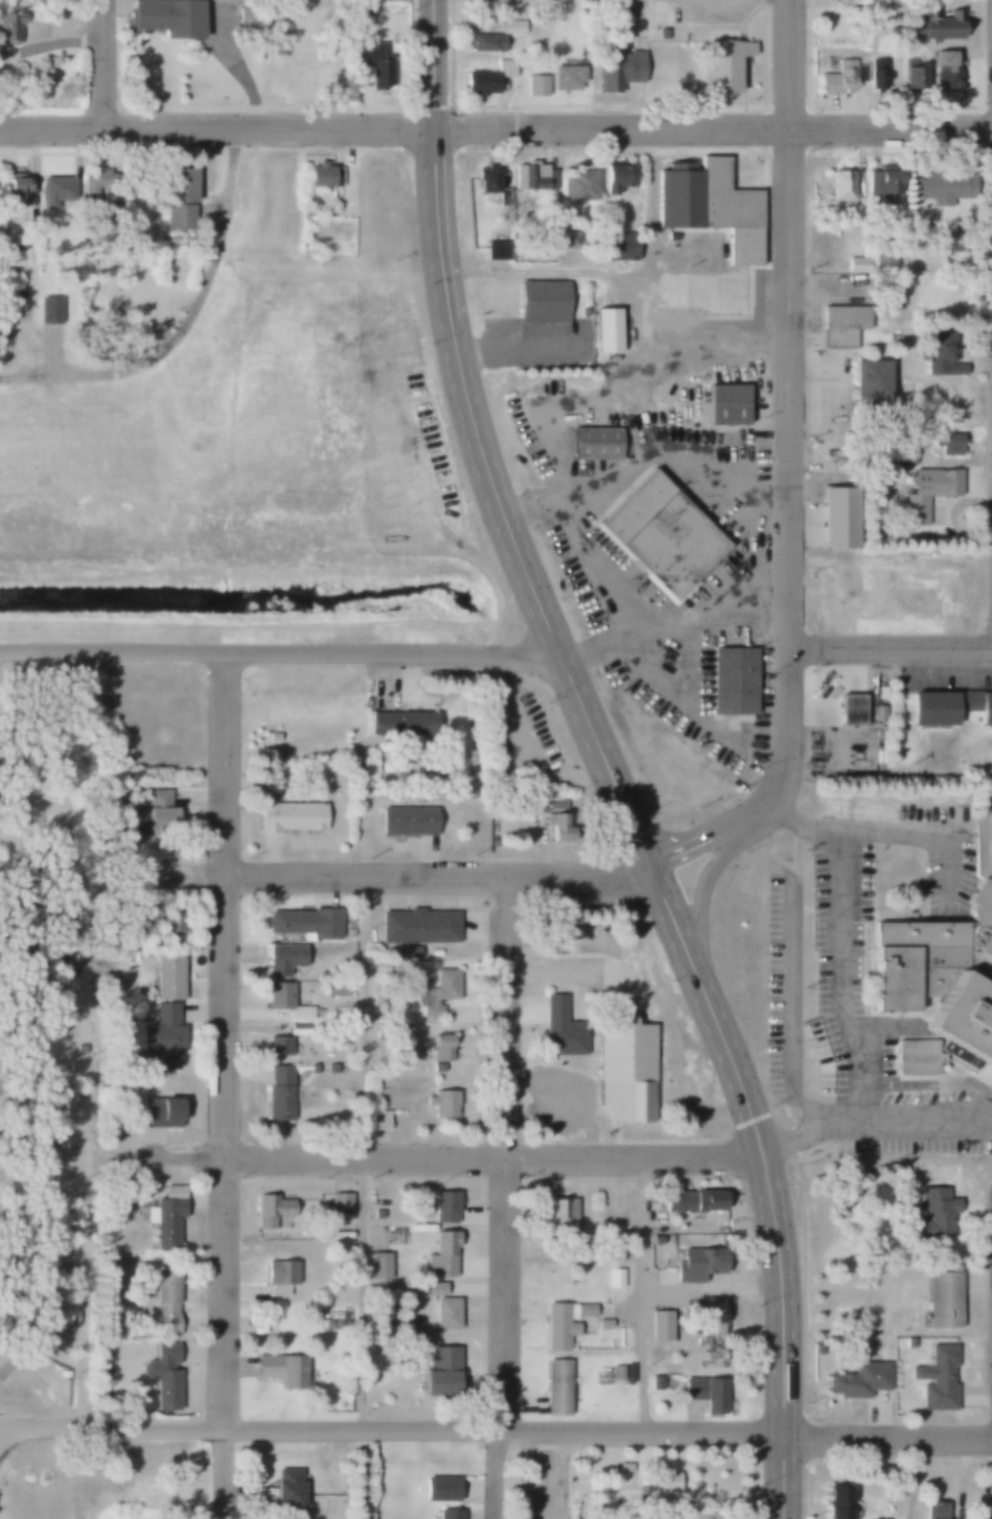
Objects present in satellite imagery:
park: (39, 3)
building: (165, 18)
building: (933, 25)
building: (8, 26)
building: (512, 26)
building: (660, 34)
building: (483, 43)
building: (127, 59)
road: (104, 63)
building: (372, 63)
road: (431, 63)
building: (722, 65)
building: (506, 68)
building: (617, 71)
building: (944, 71)
building: (877, 74)
building: (841, 77)
building: (913, 77)
building: (566, 78)
building: (479, 82)
building: (535, 86)
road: (496, 127)
building: (532, 176)
building: (320, 177)
building: (617, 178)
building: (487, 179)
building: (90, 181)
building: (882, 183)
building: (579, 185)
building: (841, 186)
building: (102, 187)
building: (942, 187)
building: (15, 190)
building: (55, 191)
building: (178, 199)
building: (709, 205)
road: (435, 223)
building: (564, 240)
building: (950, 245)
building: (618, 247)
building: (497, 251)
building: (884, 256)
building: (88, 262)
building: (853, 264)
building: (541, 302)
building: (49, 310)
road: (190, 314)
building: (842, 324)
building: (605, 330)
building: (87, 349)
road: (51, 350)
road: (710, 350)
building: (942, 355)
building: (868, 398)
building: (725, 404)
building: (595, 443)
building: (946, 445)
building: (904, 453)
road: (789, 470)
road: (492, 490)
building: (927, 492)
building: (662, 536)
building: (896, 592)
road: (672, 619)
road: (890, 648)
road: (279, 657)
building: (735, 681)
building: (950, 708)
building: (851, 710)
building: (24, 720)
building: (404, 723)
building: (273, 736)
parking lot: (520, 737)
road: (602, 761)
building: (468, 793)
building: (24, 798)
building: (159, 814)
building: (290, 816)
building: (556, 819)
building: (407, 821)
road: (888, 837)
building: (26, 874)
building: (59, 875)
road: (439, 881)
road: (702, 890)
building: (67, 911)
building: (29, 912)
building: (305, 922)
building: (417, 926)
building: (171, 927)
building: (347, 934)
building: (23, 951)
building: (282, 959)
building: (70, 971)
building: (942, 975)
building: (168, 977)
road: (840, 980)
parking lot: (857, 983)
building: (28, 990)
building: (334, 990)
building: (440, 991)
building: (376, 998)
building: (285, 1001)
building: (53, 1003)
road: (708, 1006)
road: (785, 1007)
building: (20, 1028)
building: (562, 1028)
building: (161, 1035)
road: (85, 1043)
building: (278, 1046)
building: (441, 1047)
building: (80, 1049)
building: (918, 1058)
building: (29, 1066)
building: (436, 1067)
building: (313, 1068)
building: (332, 1068)
building: (625, 1068)
road: (226, 1087)
building: (278, 1094)
building: (442, 1103)
building: (25, 1104)
building: (159, 1112)
building: (378, 1120)
road: (874, 1124)
building: (25, 1144)
road: (367, 1156)
road: (504, 1156)
road: (493, 1158)
road: (156, 1161)
building: (691, 1201)
building: (444, 1206)
building: (340, 1207)
building: (270, 1210)
building: (561, 1212)
building: (934, 1212)
building: (165, 1216)
building: (21, 1221)
building: (655, 1240)
building: (441, 1255)
building: (385, 1264)
building: (697, 1264)
building: (280, 1276)
building: (620, 1276)
building: (440, 1287)
road: (643, 1296)
building: (943, 1298)
building: (47, 1301)
building: (165, 1301)
building: (711, 1310)
building: (452, 1312)
building: (72, 1318)
building: (569, 1321)
building: (609, 1322)
building: (660, 1329)
building: (22, 1330)
road: (782, 1333)
building: (5, 1362)
building: (281, 1369)
building: (439, 1372)
building: (621, 1372)
building: (163, 1375)
building: (936, 1377)
building: (858, 1379)
building: (656, 1382)
building: (562, 1385)
building: (706, 1392)
road: (43, 1430)
road: (539, 1432)
building: (624, 1468)
road: (540, 1473)
road: (500, 1475)
park: (630, 1483)
building: (665, 1483)
parking lot: (541, 1484)
building: (439, 1489)
building: (286, 1493)
building: (839, 1503)
building: (933, 1509)
building: (448, 1514)

